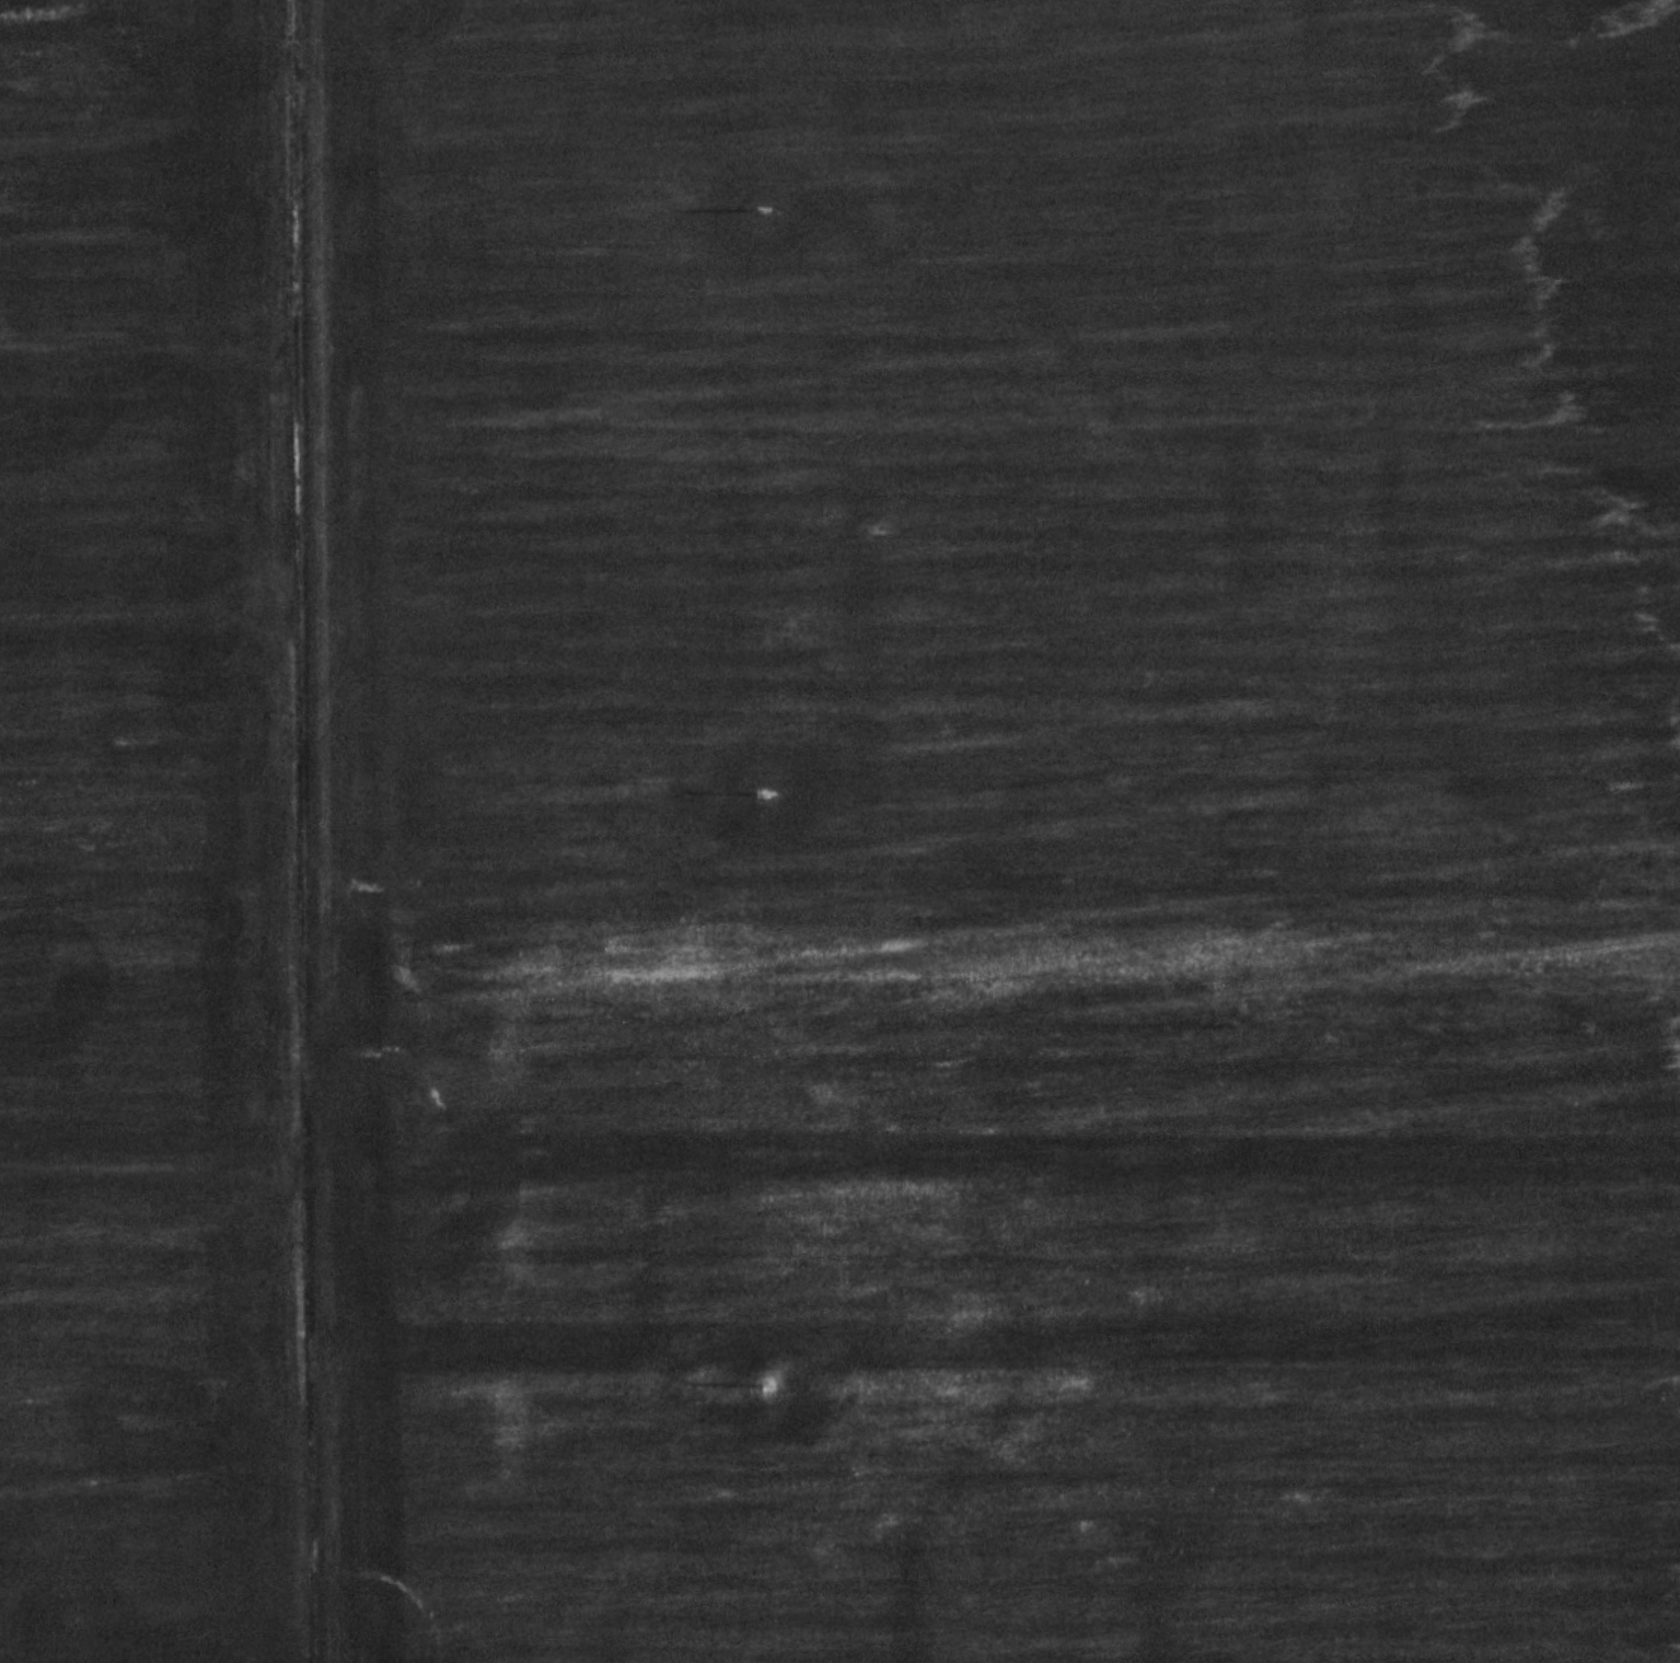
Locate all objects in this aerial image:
power tower: (760, 211)
crop: (993, 486)
power tower: (763, 792)
crop: (154, 839)
crop: (997, 1317)
power tower: (767, 1385)

